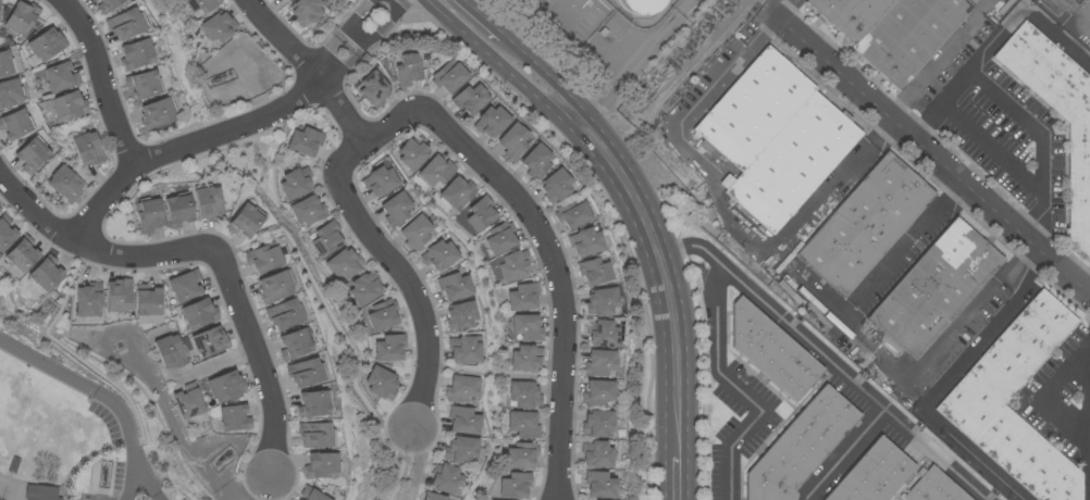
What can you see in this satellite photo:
building: (97, 0)
building: (288, 0)
building: (108, 5)
building: (200, 5)
building: (641, 5)
storage tank: (641, 5)
road: (1075, 9)
road: (786, 10)
building: (305, 11)
building: (850, 15)
building: (22, 17)
road: (468, 23)
building: (126, 24)
building: (218, 27)
building: (908, 36)
road: (335, 38)
road: (366, 45)
building: (45, 47)
building: (136, 54)
road: (941, 60)
road: (641, 62)
building: (5, 64)
building: (407, 70)
road: (307, 73)
building: (449, 76)
building: (61, 77)
road: (103, 78)
building: (144, 85)
building: (373, 89)
road: (951, 89)
building: (10, 93)
building: (470, 99)
building: (69, 107)
building: (753, 109)
building: (1057, 112)
building: (157, 113)
building: (491, 122)
road: (1026, 123)
building: (15, 124)
building: (306, 141)
building: (512, 141)
road: (183, 147)
road: (928, 148)
building: (88, 149)
building: (413, 153)
building: (33, 154)
building: (535, 162)
building: (792, 163)
building: (436, 171)
building: (380, 182)
building: (64, 184)
building: (296, 184)
building: (555, 186)
building: (457, 192)
building: (208, 202)
road: (724, 208)
building: (396, 209)
building: (0, 210)
building: (177, 210)
building: (308, 211)
building: (572, 213)
building: (481, 214)
building: (148, 215)
building: (245, 221)
road: (646, 224)
building: (865, 224)
building: (7, 232)
building: (416, 233)
building: (326, 239)
building: (500, 239)
building: (585, 242)
road: (548, 243)
road: (211, 249)
building: (22, 254)
building: (438, 255)
building: (263, 258)
building: (344, 264)
building: (513, 266)
building: (594, 272)
building: (46, 273)
road: (404, 275)
building: (184, 287)
building: (274, 287)
building: (454, 287)
building: (364, 288)
building: (933, 290)
building: (119, 296)
building: (523, 297)
building: (148, 300)
building: (89, 301)
building: (600, 302)
building: (199, 314)
building: (284, 314)
building: (383, 315)
building: (461, 316)
building: (527, 327)
building: (602, 334)
building: (210, 342)
building: (295, 345)
building: (389, 348)
road: (874, 348)
building: (463, 350)
building: (771, 351)
building: (170, 352)
building: (525, 359)
road: (827, 359)
building: (1007, 362)
building: (599, 363)
building: (306, 373)
building: (381, 383)
road: (945, 385)
building: (225, 386)
building: (461, 389)
road: (739, 390)
building: (597, 393)
road: (1048, 393)
building: (524, 396)
road: (101, 397)
building: (188, 402)
building: (312, 404)
building: (234, 418)
building: (463, 421)
building: (597, 424)
building: (523, 425)
park: (65, 436)
building: (315, 436)
building: (800, 447)
building: (460, 450)
building: (597, 454)
road: (845, 454)
parking lot: (122, 455)
building: (522, 455)
petroleum well: (223, 458)
road: (418, 462)
building: (321, 466)
petroleum well: (104, 472)
building: (872, 474)
building: (445, 479)
road: (677, 479)
building: (599, 485)
building: (516, 486)
building: (933, 487)
building: (40, 492)
building: (311, 495)
building: (433, 497)

